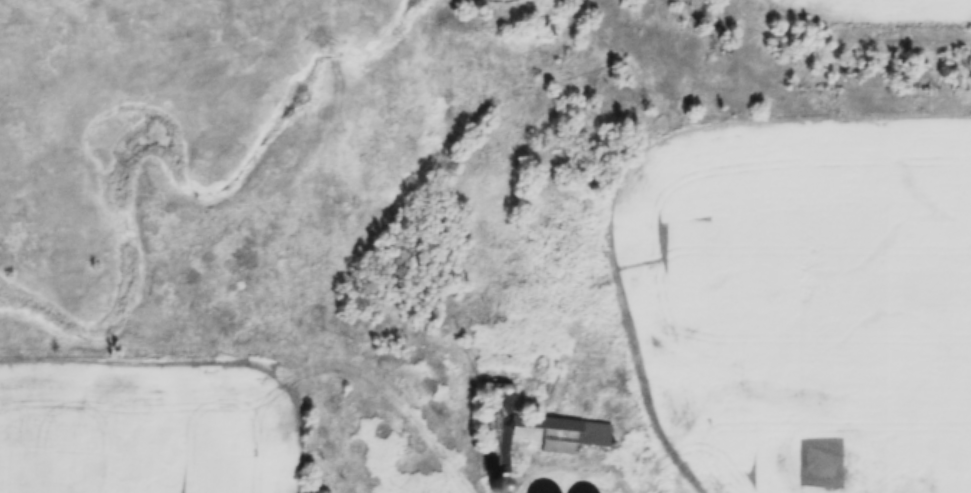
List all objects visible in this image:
crop: (877, 6)
crop: (801, 295)
building: (529, 430)

